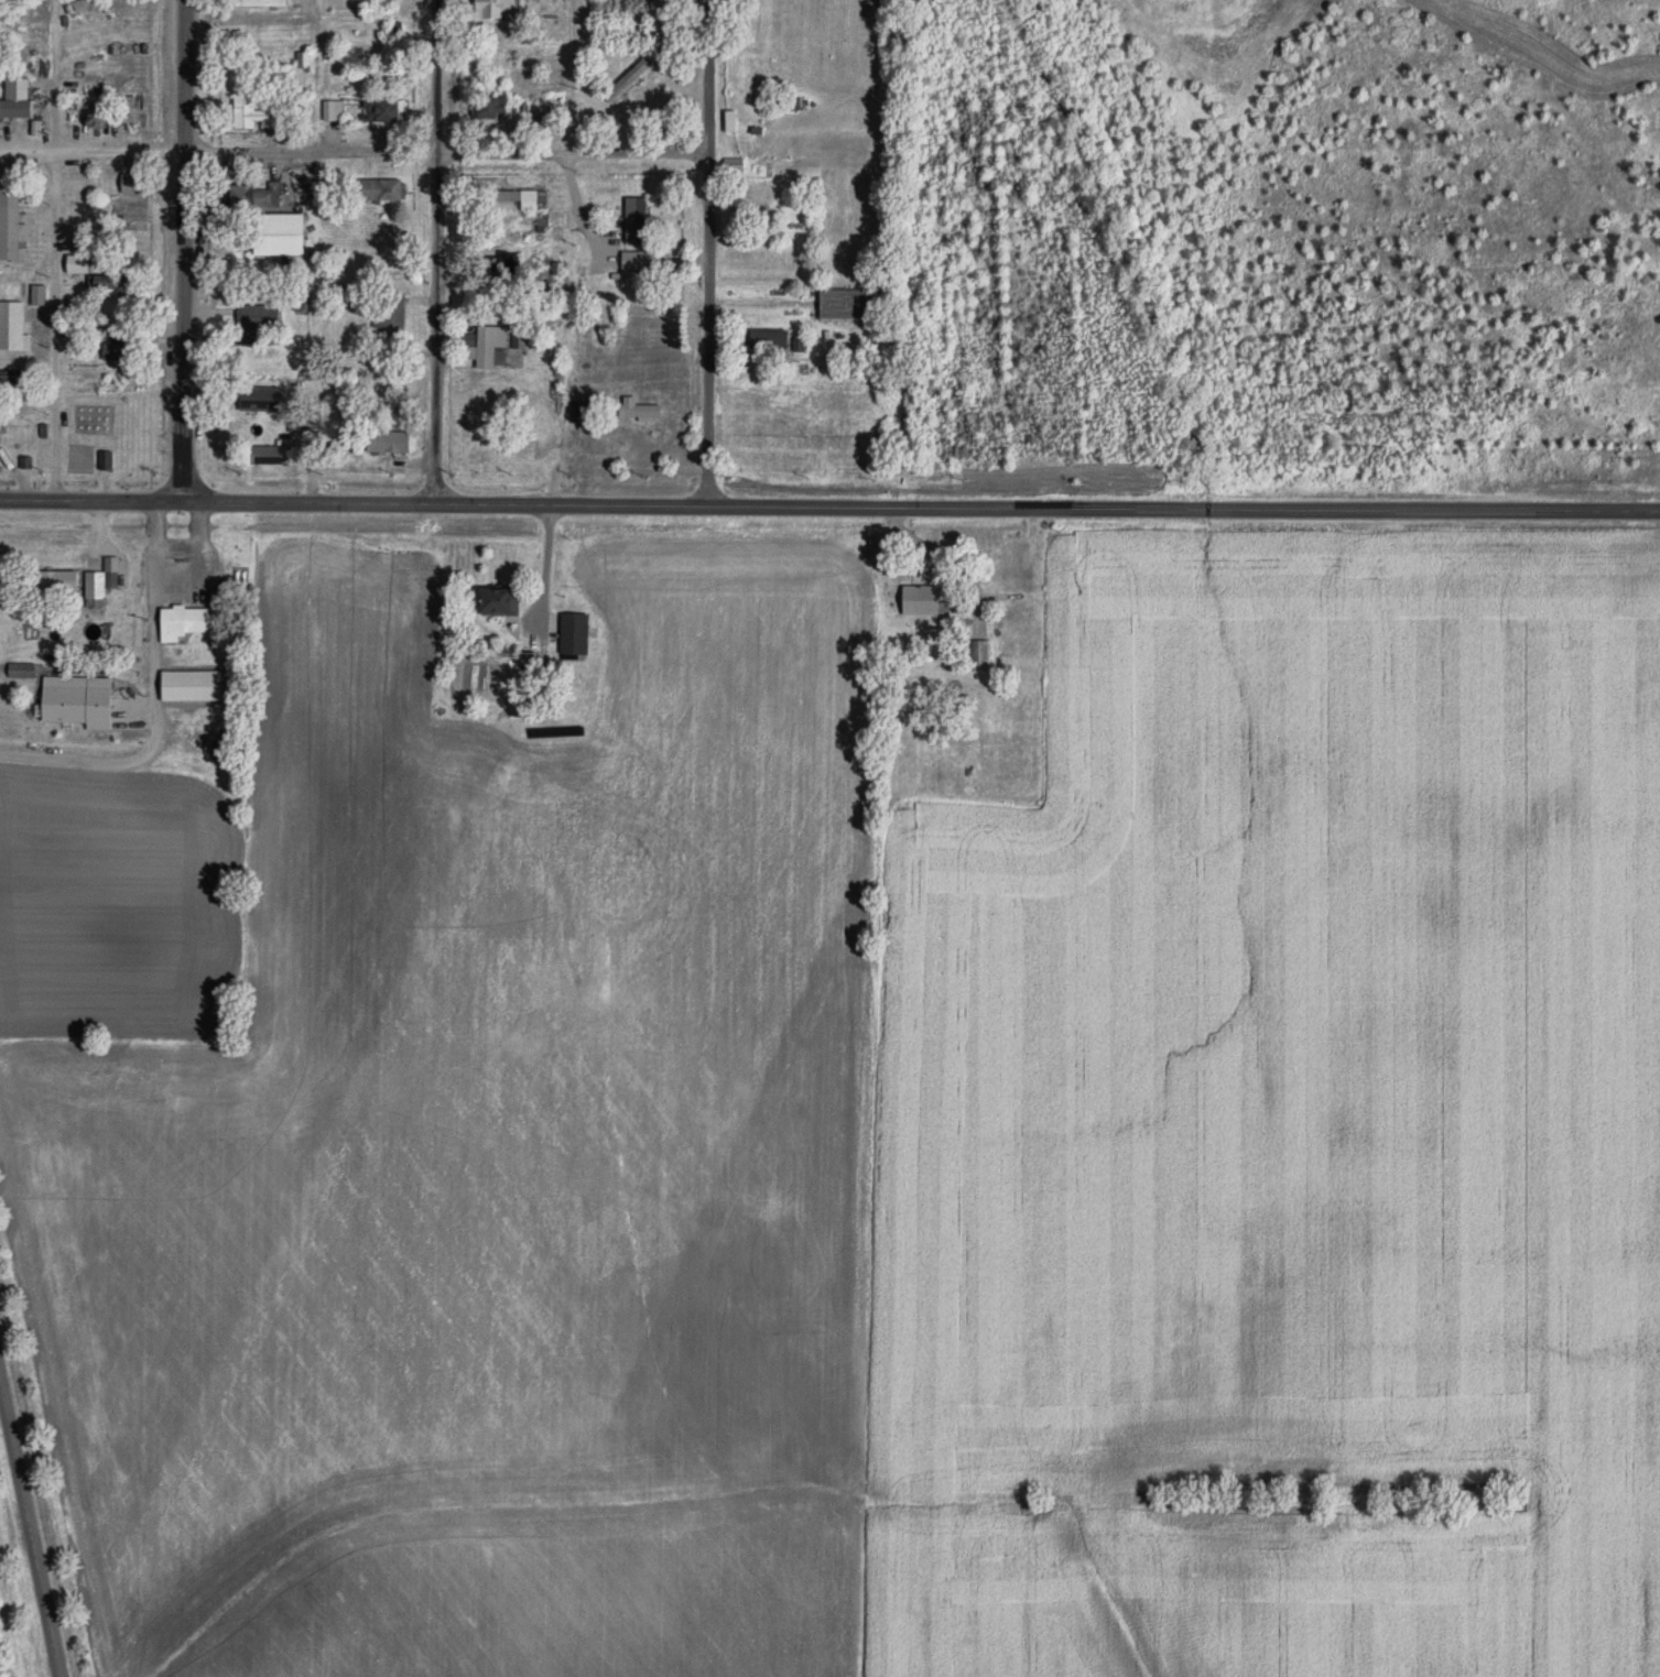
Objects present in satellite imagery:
building: (259, 3)
building: (496, 8)
building: (394, 29)
building: (94, 52)
building: (626, 81)
building: (489, 107)
building: (252, 108)
building: (14, 109)
building: (332, 109)
building: (381, 109)
building: (520, 109)
road: (352, 152)
building: (132, 182)
building: (382, 189)
building: (253, 194)
building: (757, 194)
building: (523, 197)
road: (575, 204)
building: (128, 211)
building: (634, 219)
building: (9, 232)
building: (276, 233)
road: (183, 251)
road: (436, 251)
road: (706, 252)
building: (640, 260)
building: (508, 262)
building: (76, 263)
building: (111, 286)
building: (36, 294)
building: (9, 302)
building: (845, 305)
building: (388, 316)
building: (256, 323)
road: (53, 326)
building: (768, 338)
building: (117, 346)
building: (488, 346)
building: (20, 380)
building: (259, 398)
building: (638, 407)
building: (582, 412)
building: (294, 422)
building: (93, 423)
building: (387, 440)
building: (40, 454)
building: (267, 454)
building: (104, 459)
building: (24, 460)
road: (351, 503)
road: (1182, 509)
road: (547, 579)
building: (55, 581)
building: (98, 582)
building: (921, 599)
building: (498, 600)
building: (184, 621)
building: (573, 634)
building: (978, 652)
building: (189, 685)
building: (211, 731)
road: (82, 759)
road: (28, 1535)

